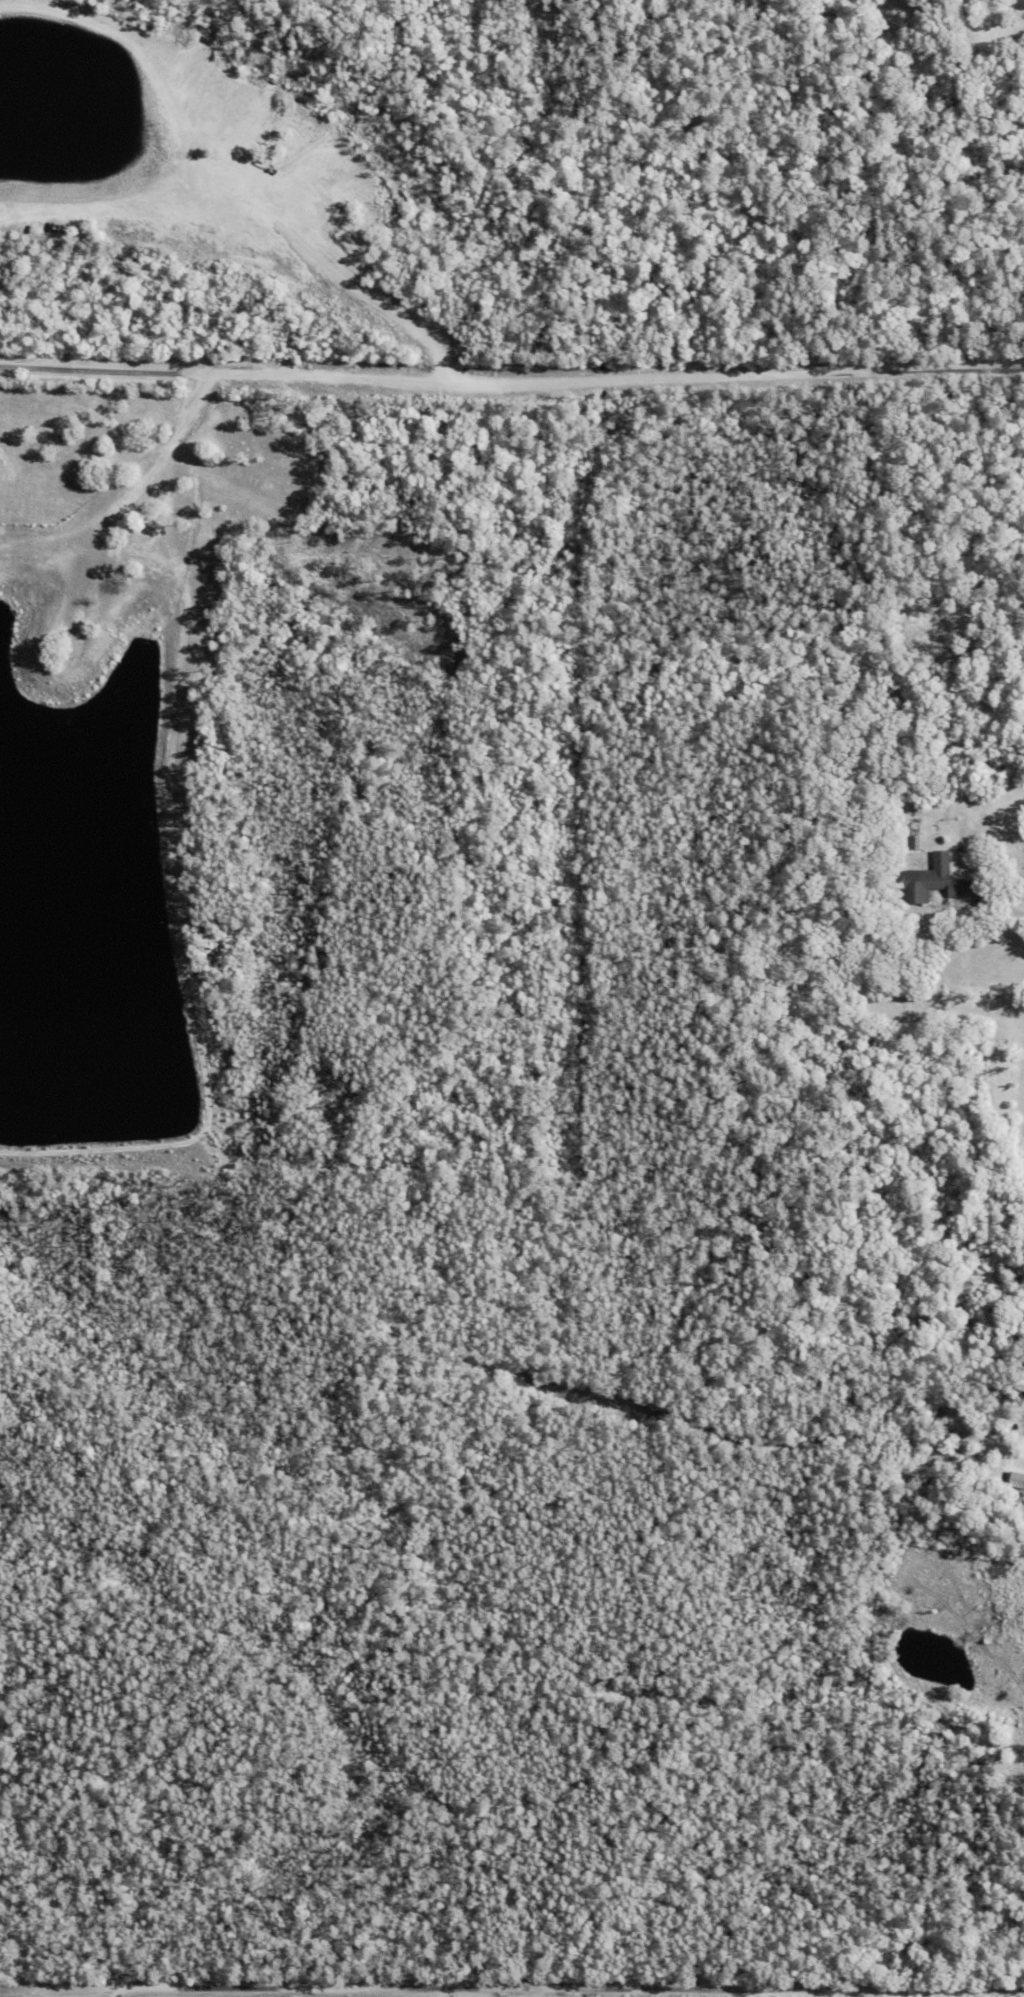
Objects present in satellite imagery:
road: (512, 381)
building: (915, 834)
building: (938, 882)
road: (1020, 911)
building: (1019, 1480)
road: (564, 1993)

